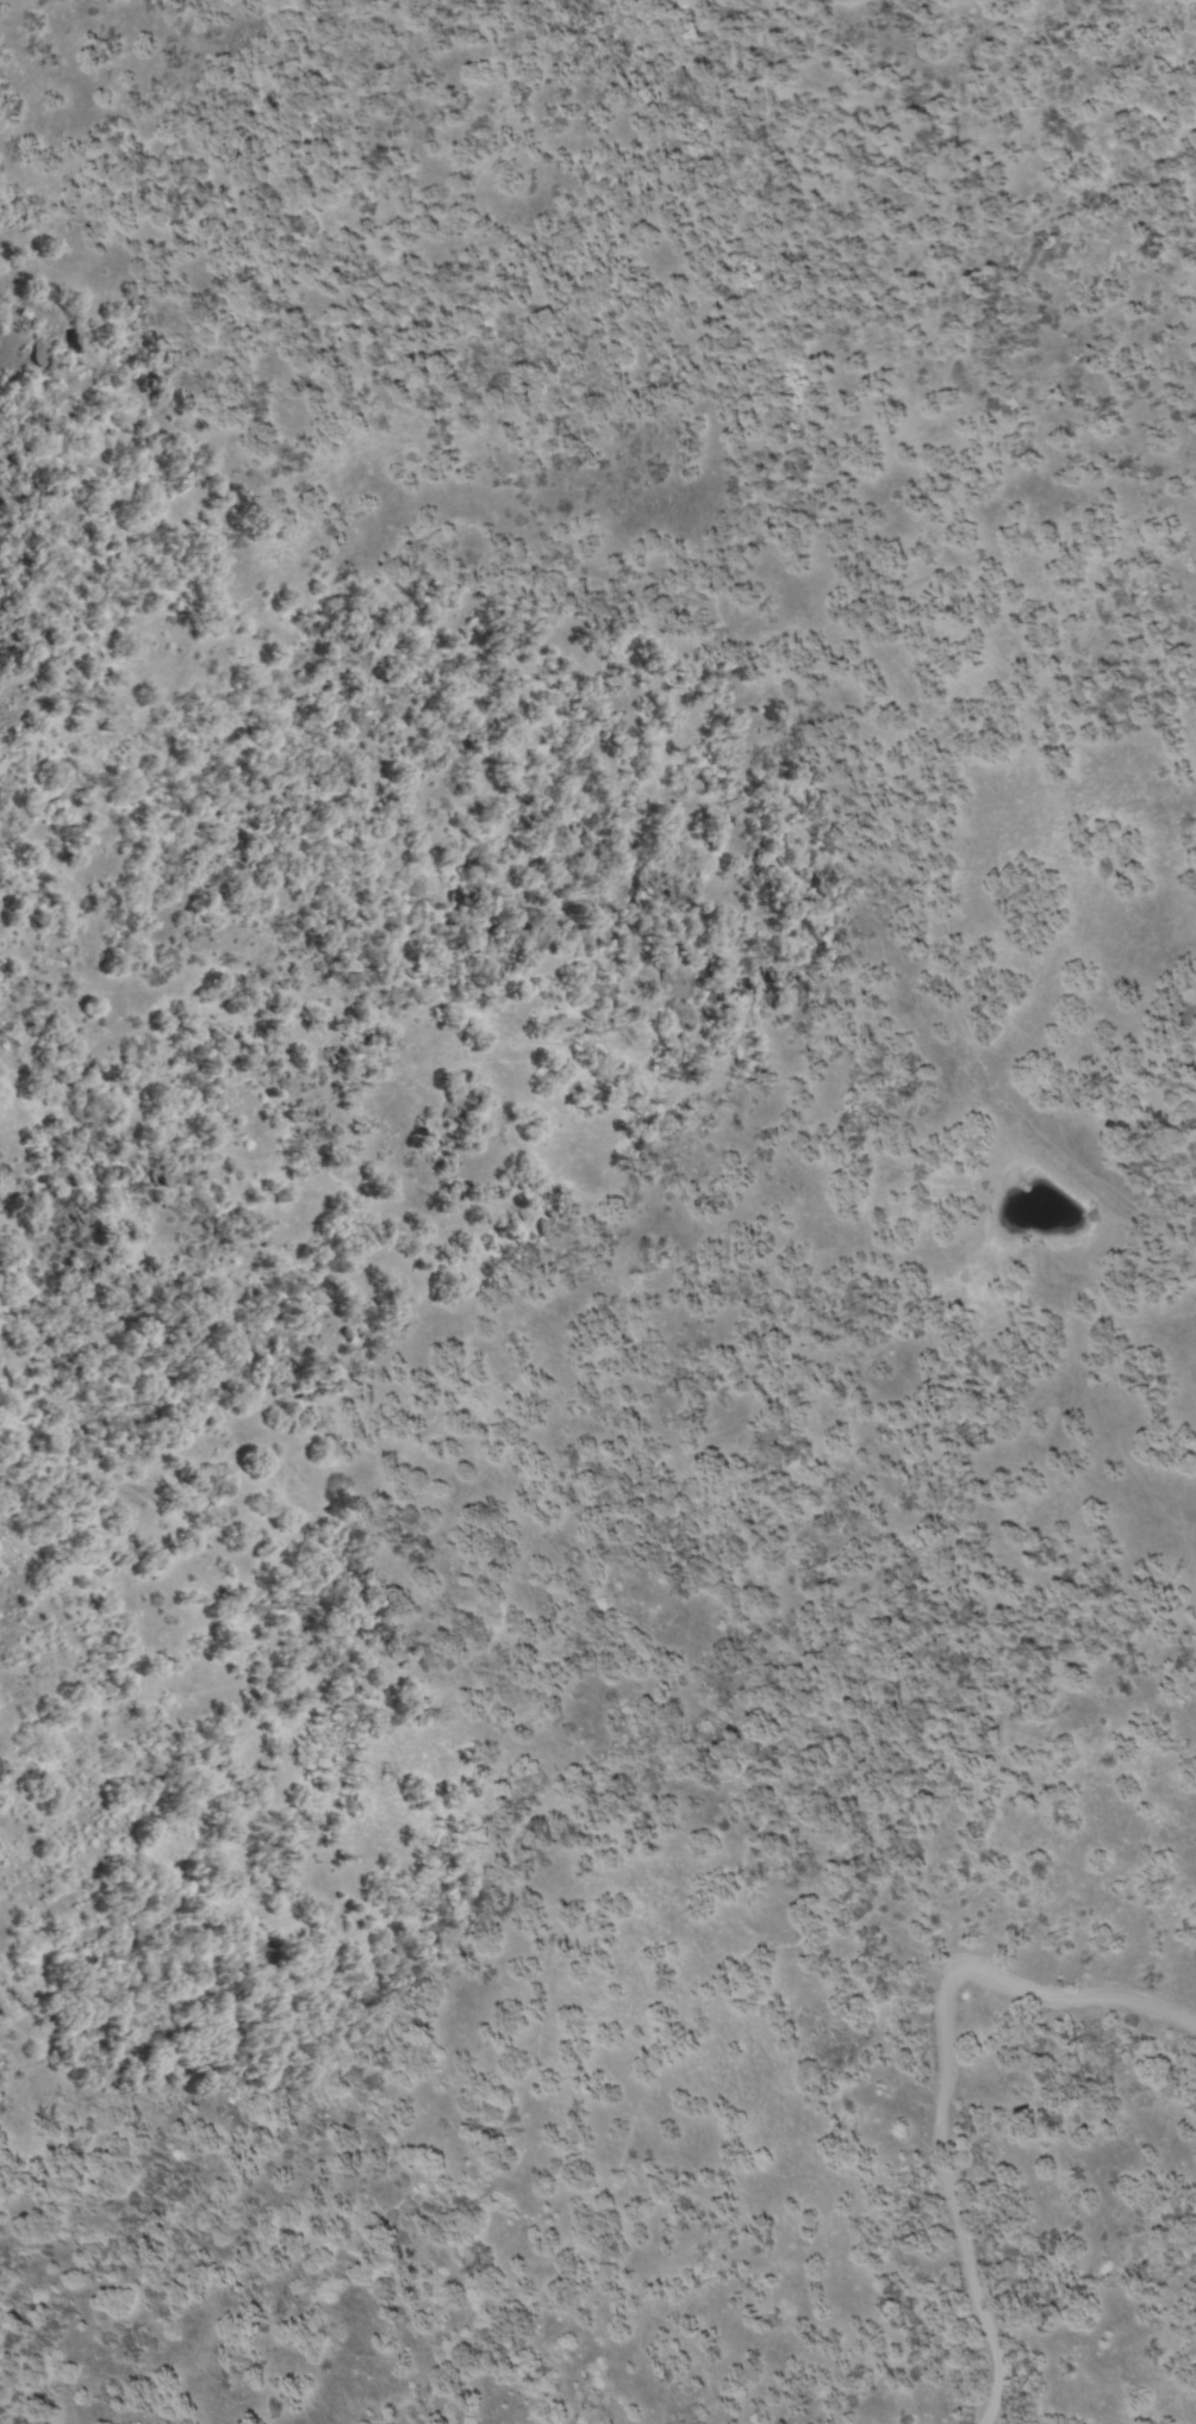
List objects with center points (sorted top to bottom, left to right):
road: (945, 2078)

